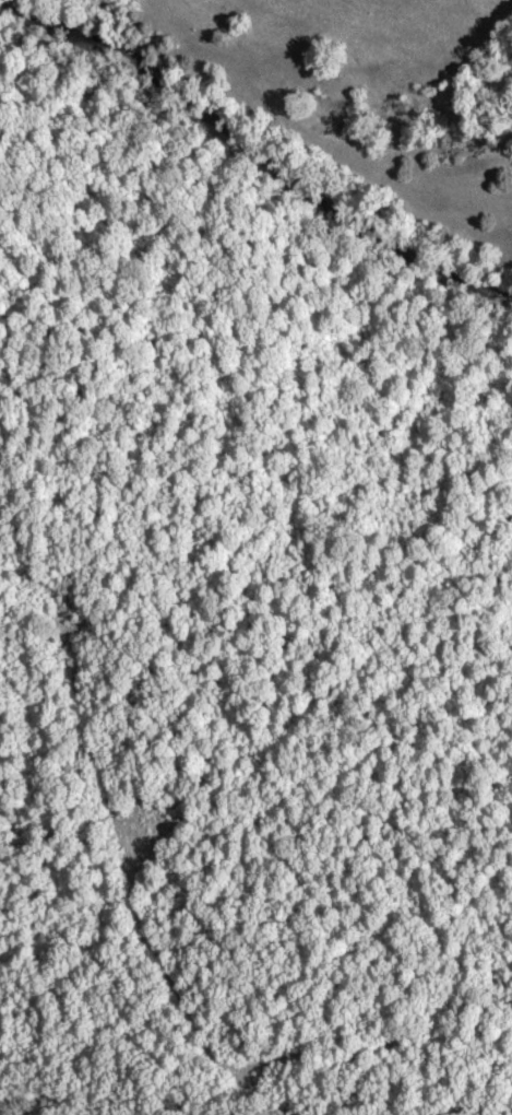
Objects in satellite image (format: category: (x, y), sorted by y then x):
road: (100, 844)

